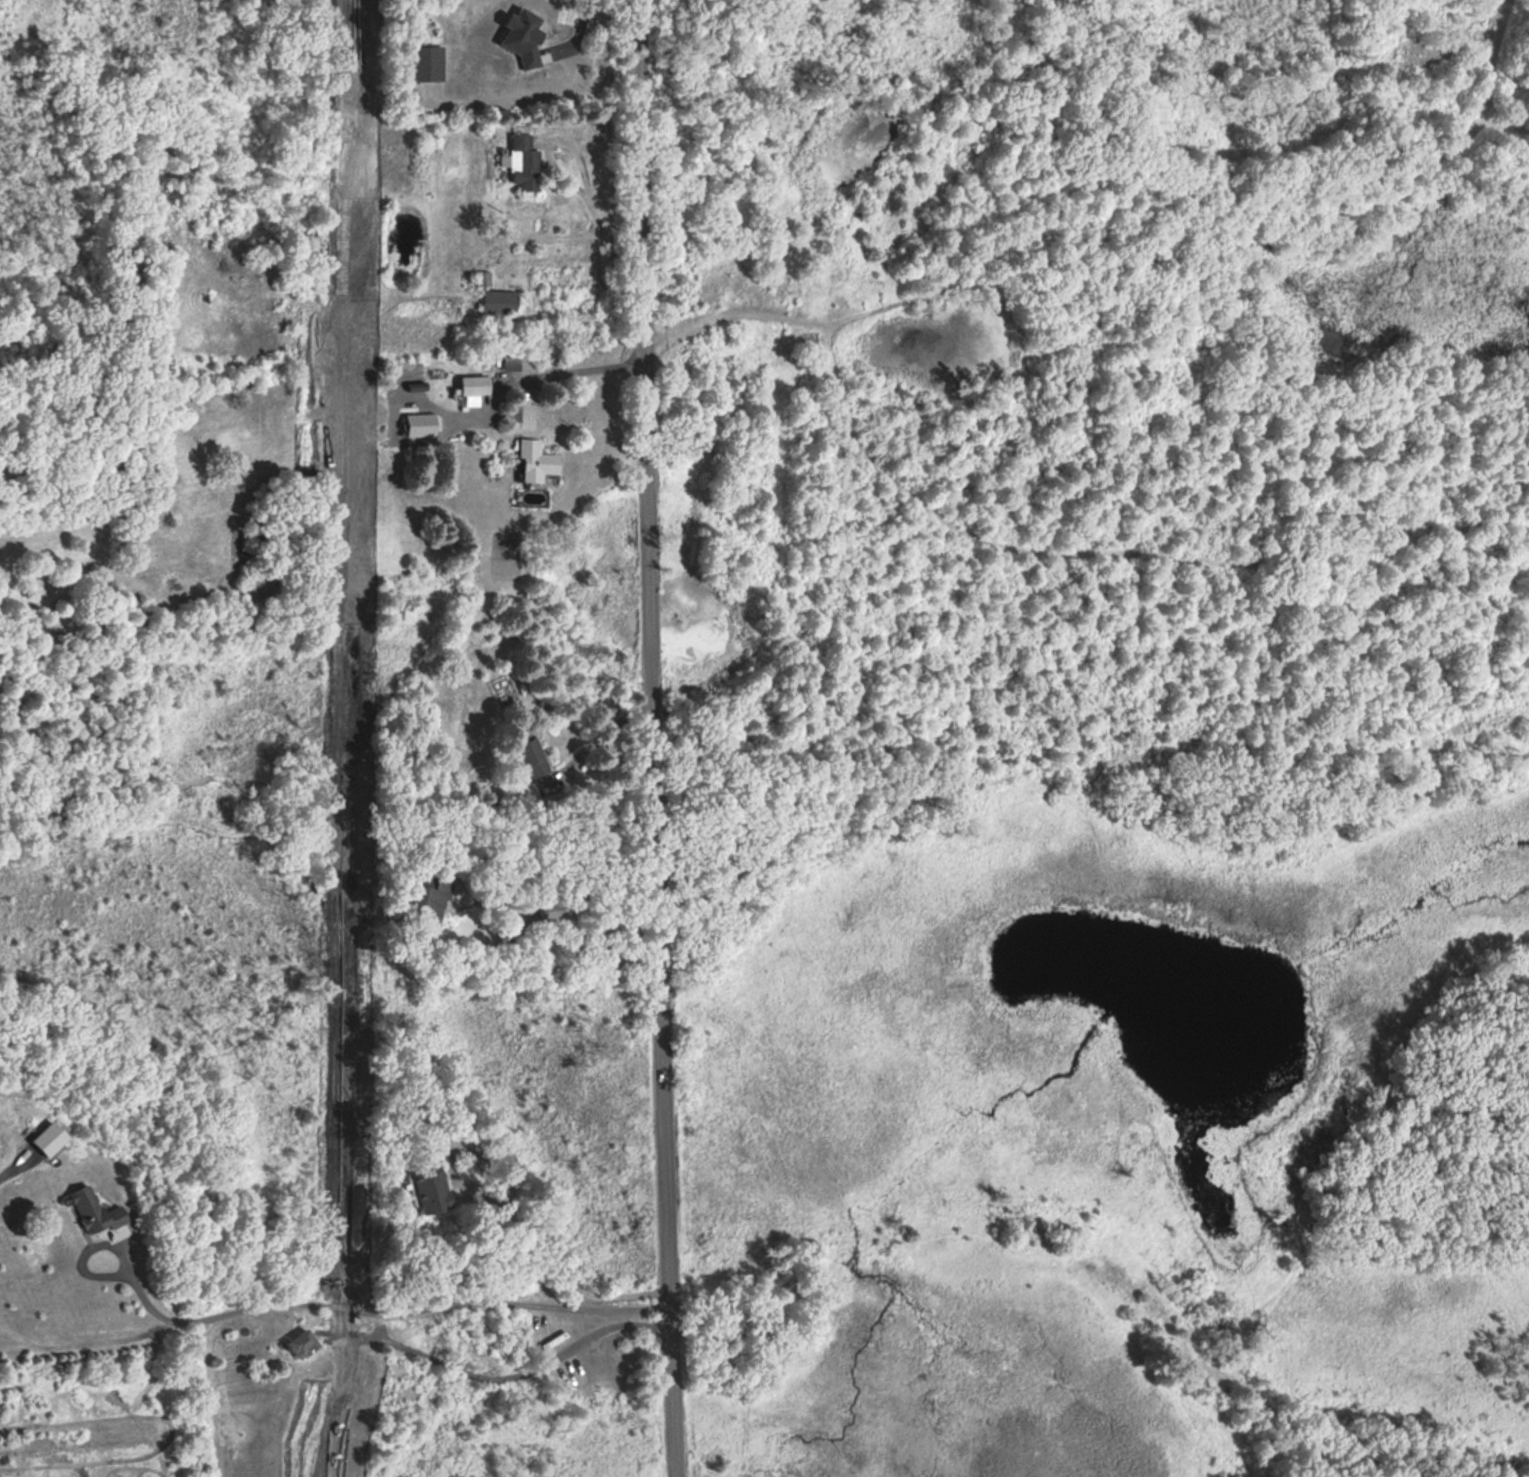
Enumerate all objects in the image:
road: (1504, 123)
building: (521, 163)
road: (564, 177)
road: (530, 231)
building: (497, 301)
road: (738, 314)
road: (828, 330)
road: (565, 371)
building: (470, 384)
building: (416, 424)
building: (533, 458)
park: (1102, 733)
road: (602, 737)
road: (659, 738)
building: (529, 756)
building: (424, 896)
road: (566, 940)
building: (429, 1190)
building: (90, 1209)
road: (563, 1272)
road: (327, 1306)
building: (297, 1343)
road: (512, 1375)

